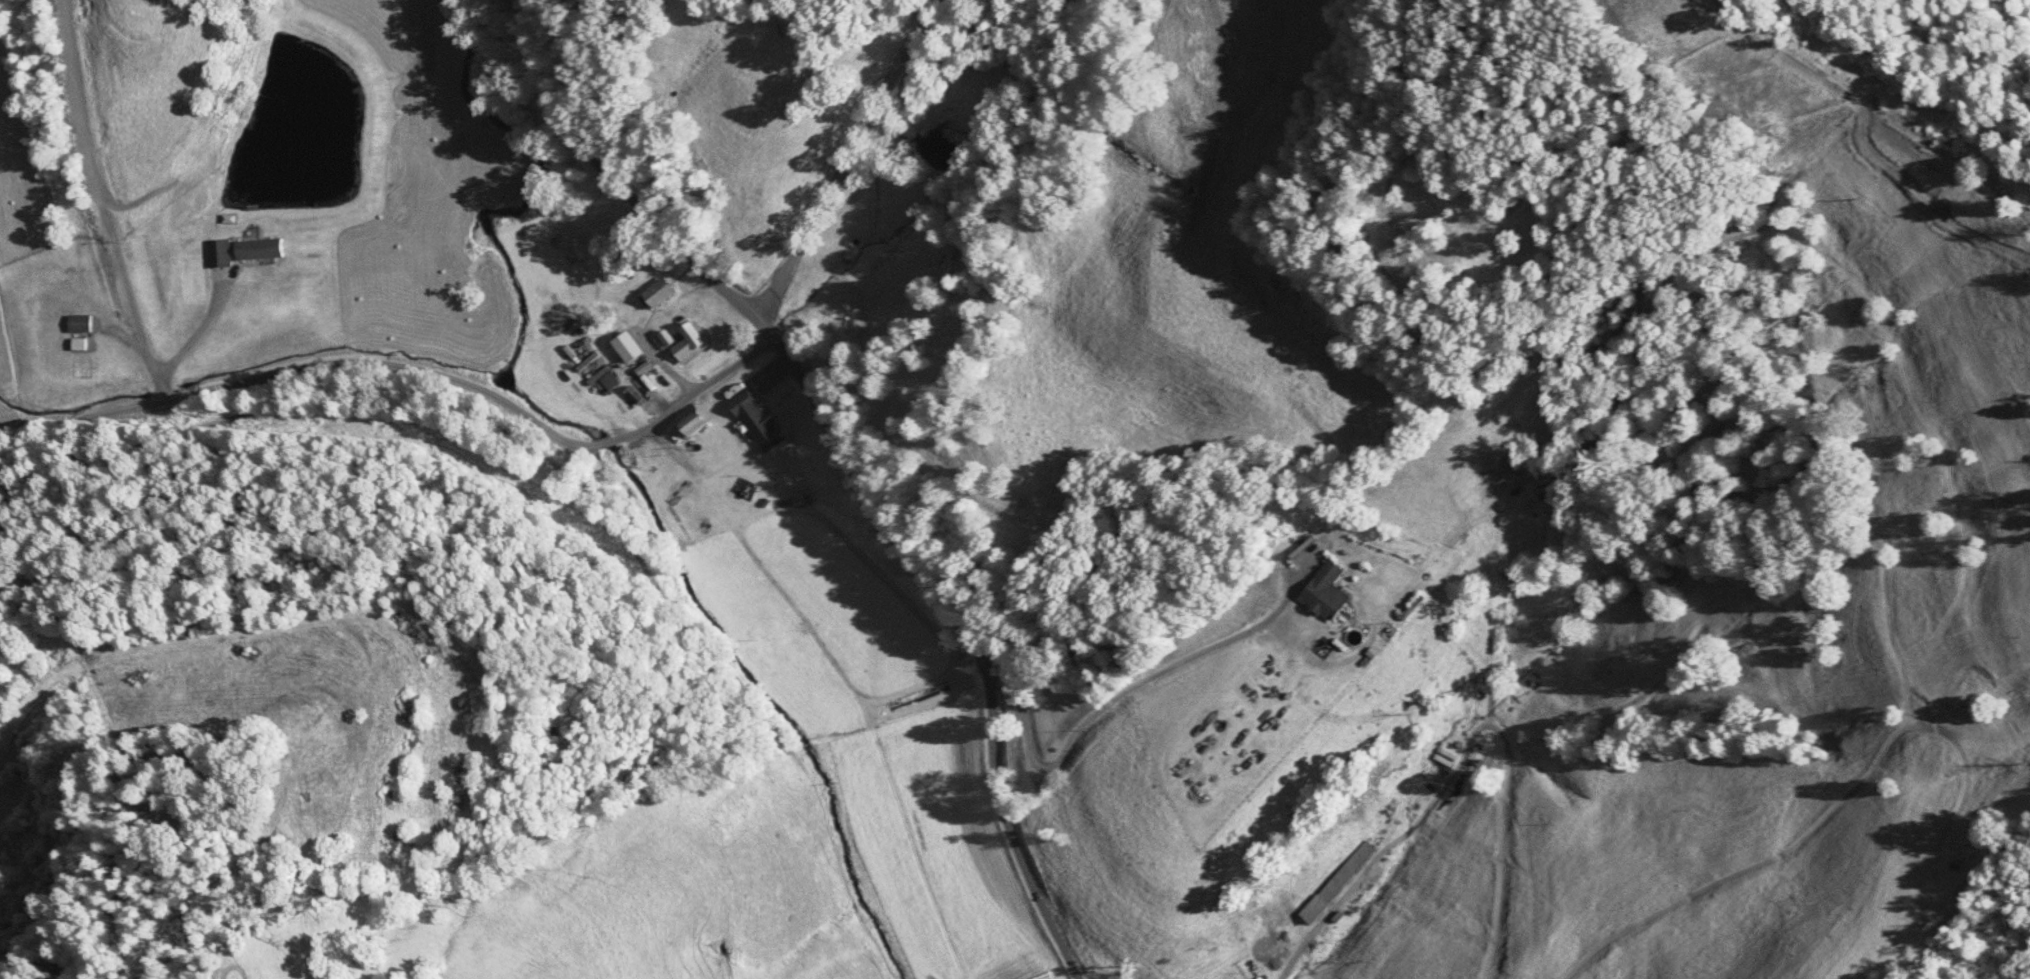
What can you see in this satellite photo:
road: (629, 187)
building: (264, 250)
building: (224, 260)
building: (662, 292)
building: (686, 343)
building: (83, 348)
road: (374, 391)
building: (760, 420)
building: (1327, 592)
road: (945, 639)
building: (1338, 882)

